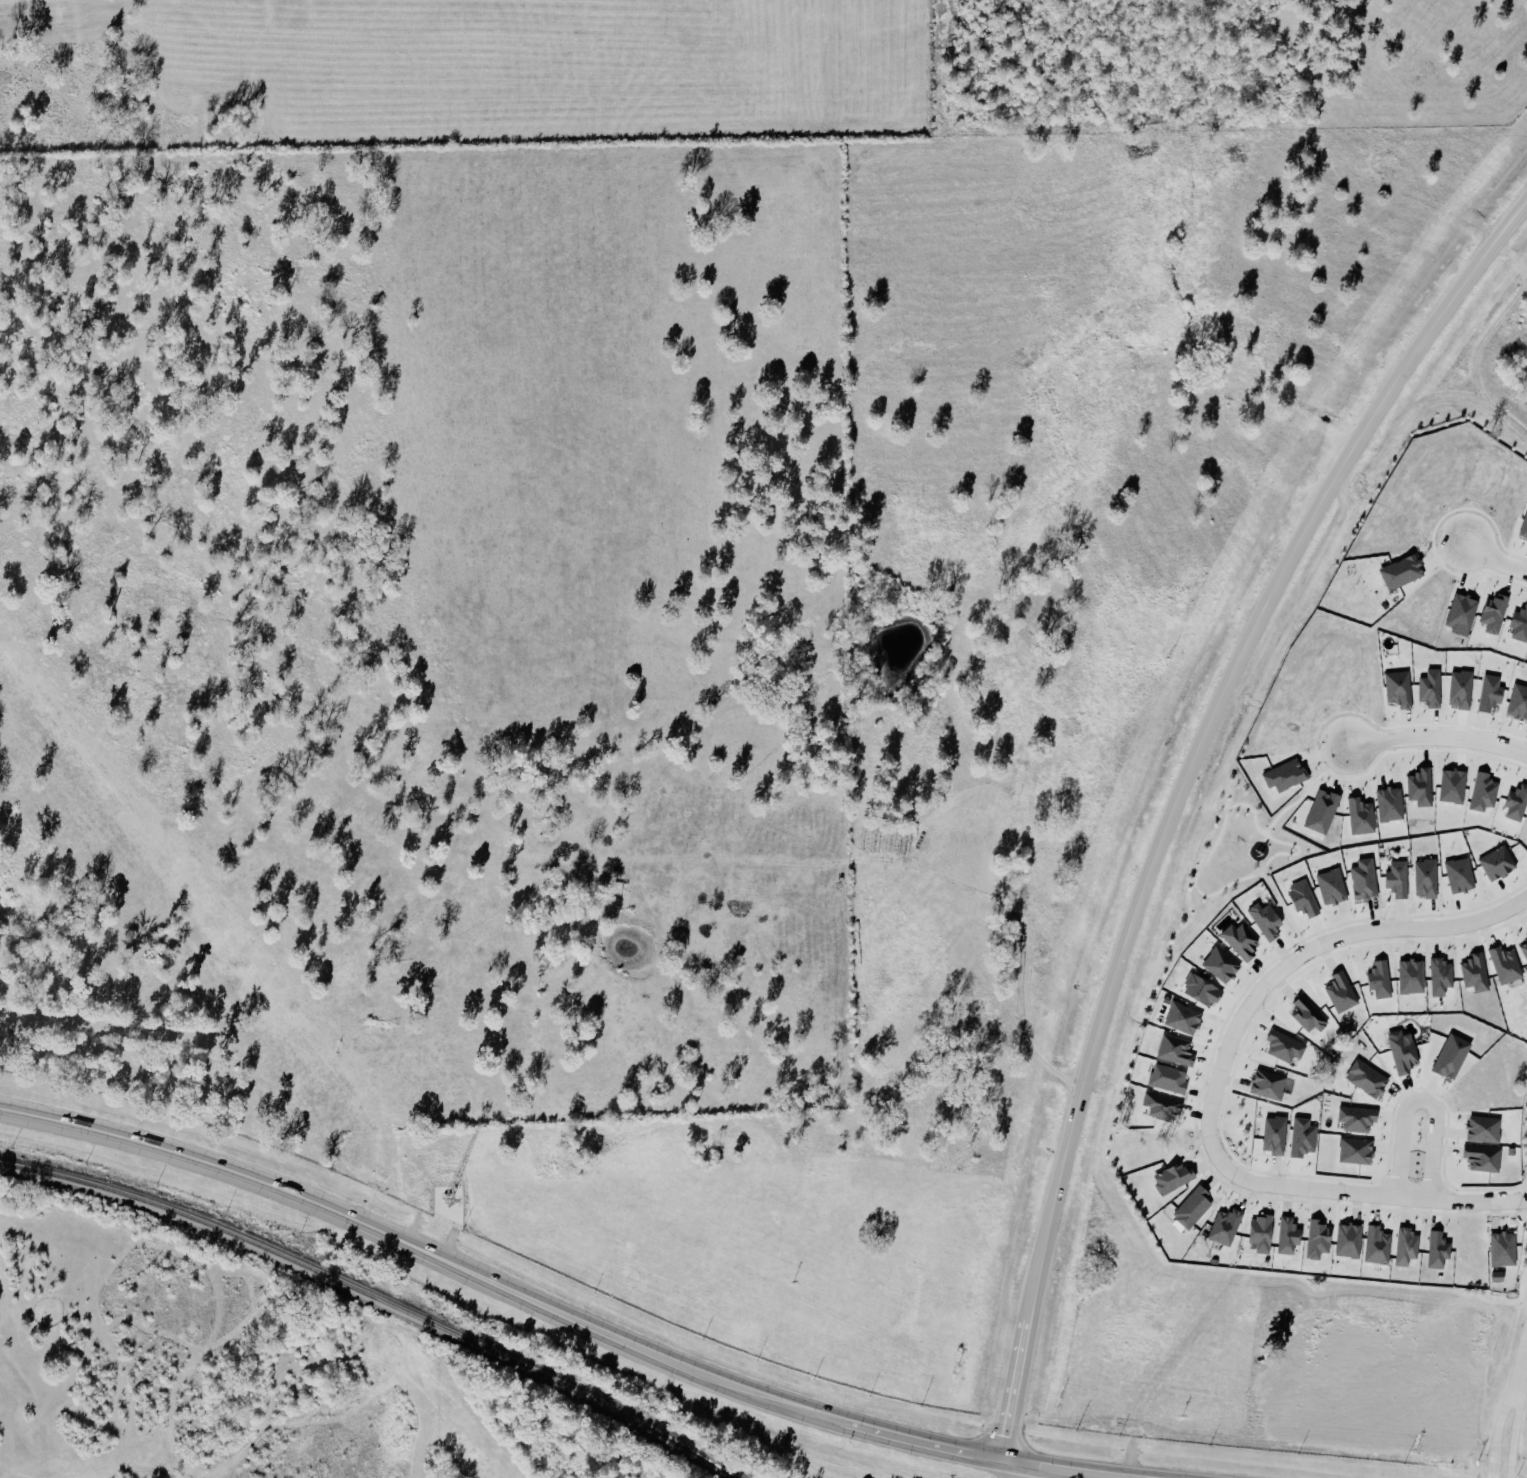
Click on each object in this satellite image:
building: (1524, 529)
road: (1500, 559)
building: (1404, 572)
building: (1432, 688)
building: (1493, 692)
road: (1210, 725)
road: (1439, 737)
road: (1292, 802)
building: (1392, 803)
road: (1253, 816)
building: (1500, 863)
building: (1462, 875)
building: (1400, 878)
building: (1428, 878)
building: (1366, 879)
building: (1334, 886)
building: (1306, 898)
building: (1268, 920)
building: (1244, 940)
building: (1525, 948)
building: (1223, 965)
building: (1507, 965)
building: (1413, 976)
building: (1443, 976)
building: (1382, 980)
building: (1205, 990)
building: (1343, 992)
building: (1310, 1015)
building: (1185, 1018)
building: (1287, 1046)
building: (1177, 1050)
building: (1405, 1054)
building: (1454, 1056)
building: (1170, 1079)
building: (1370, 1079)
road: (1215, 1083)
building: (1271, 1085)
road: (1420, 1100)
building: (1165, 1106)
building: (1360, 1118)
building: (1485, 1129)
building: (1276, 1134)
building: (1305, 1137)
building: (1358, 1151)
building: (1485, 1158)
building: (1176, 1178)
building: (1195, 1207)
building: (1228, 1226)
building: (1264, 1233)
building: (1291, 1235)
building: (1320, 1239)
building: (1351, 1240)
building: (1379, 1245)
building: (1408, 1246)
building: (1505, 1248)
building: (1440, 1249)
road: (418, 1250)
building: (1500, 1276)
railway: (376, 1298)
road: (1520, 1372)
road: (1016, 1383)
road: (1495, 1435)
road: (1512, 1438)
road: (913, 1440)
road: (1063, 1469)

